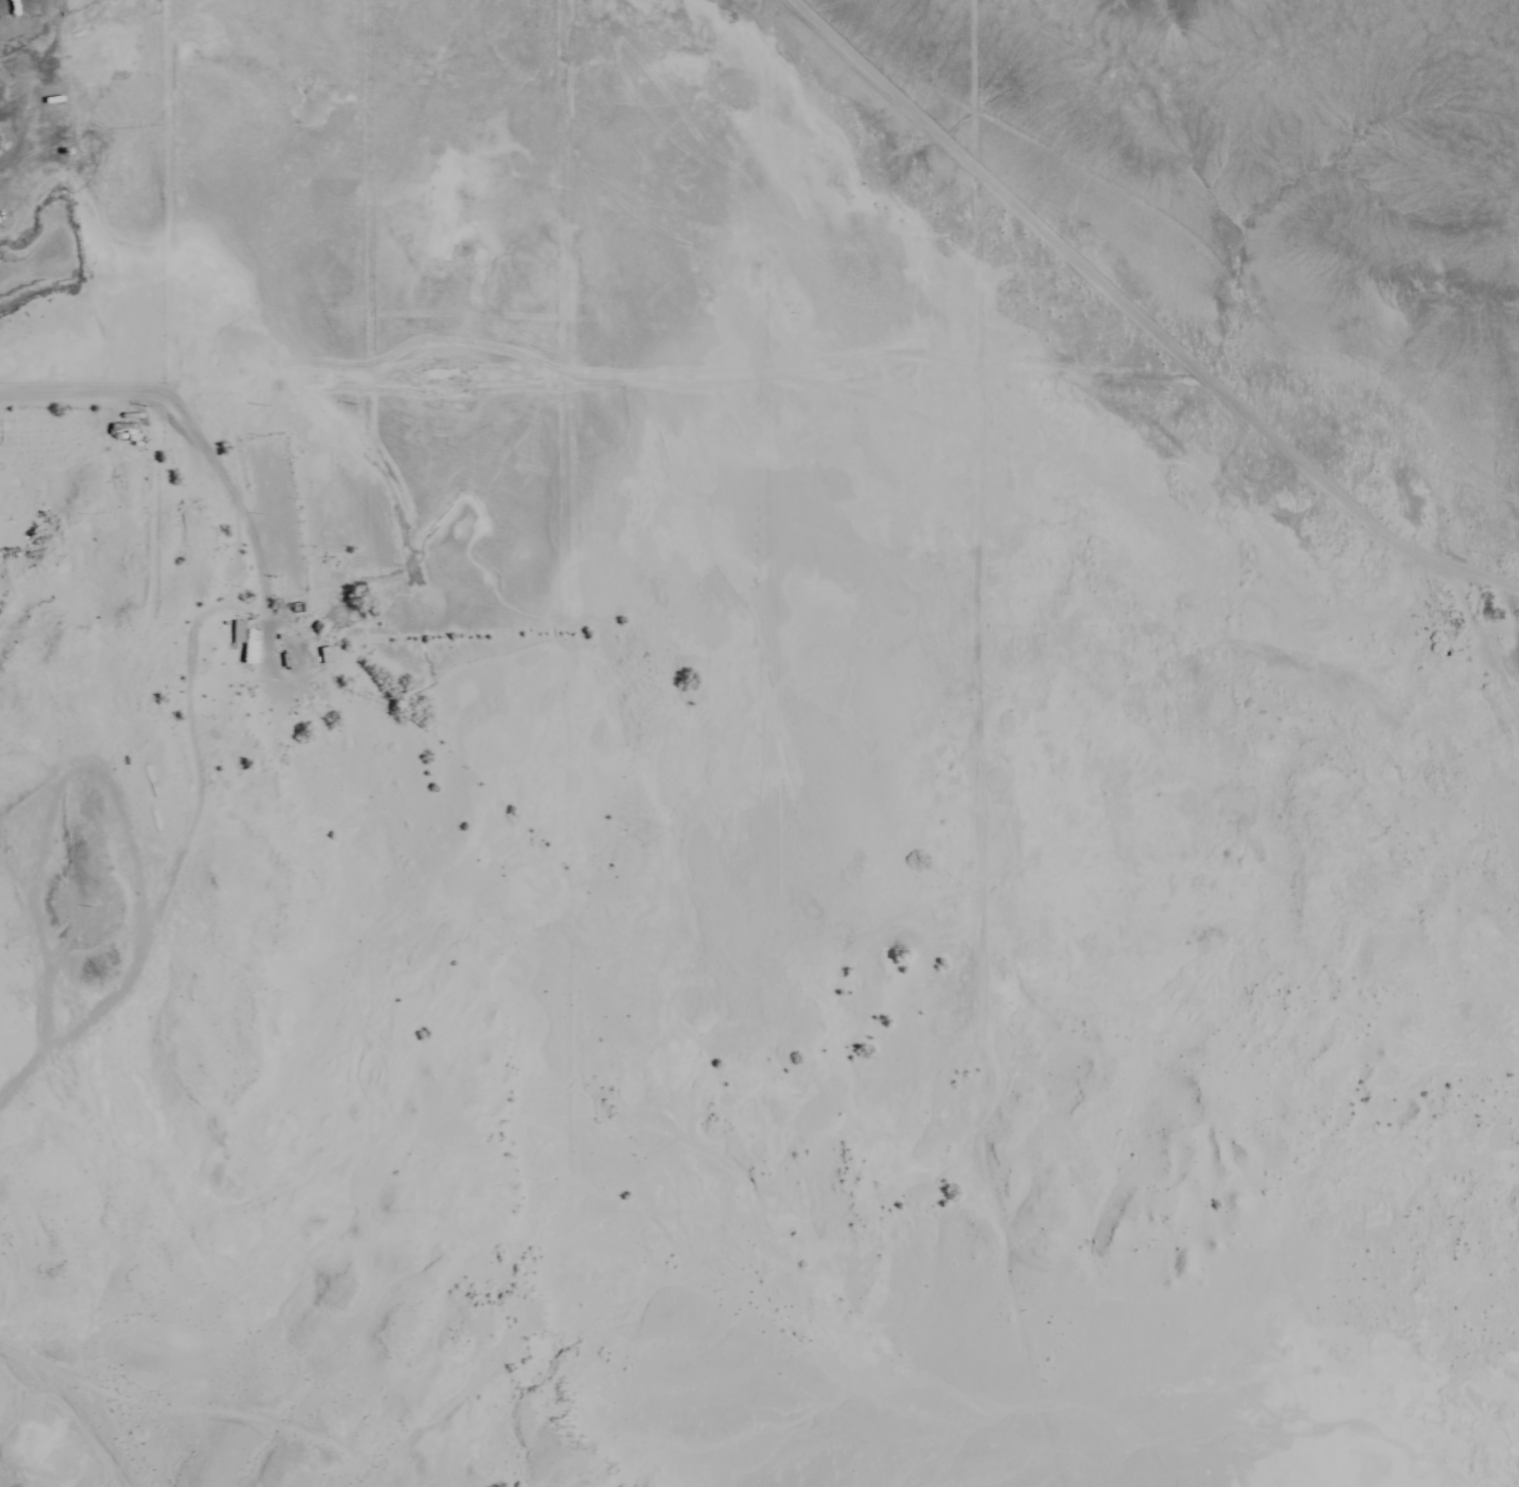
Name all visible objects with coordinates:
road: (37, 37)
road: (1138, 320)
road: (546, 362)
road: (859, 393)
building: (120, 430)
road: (234, 486)
building: (245, 639)
road: (151, 924)
road: (166, 1410)

